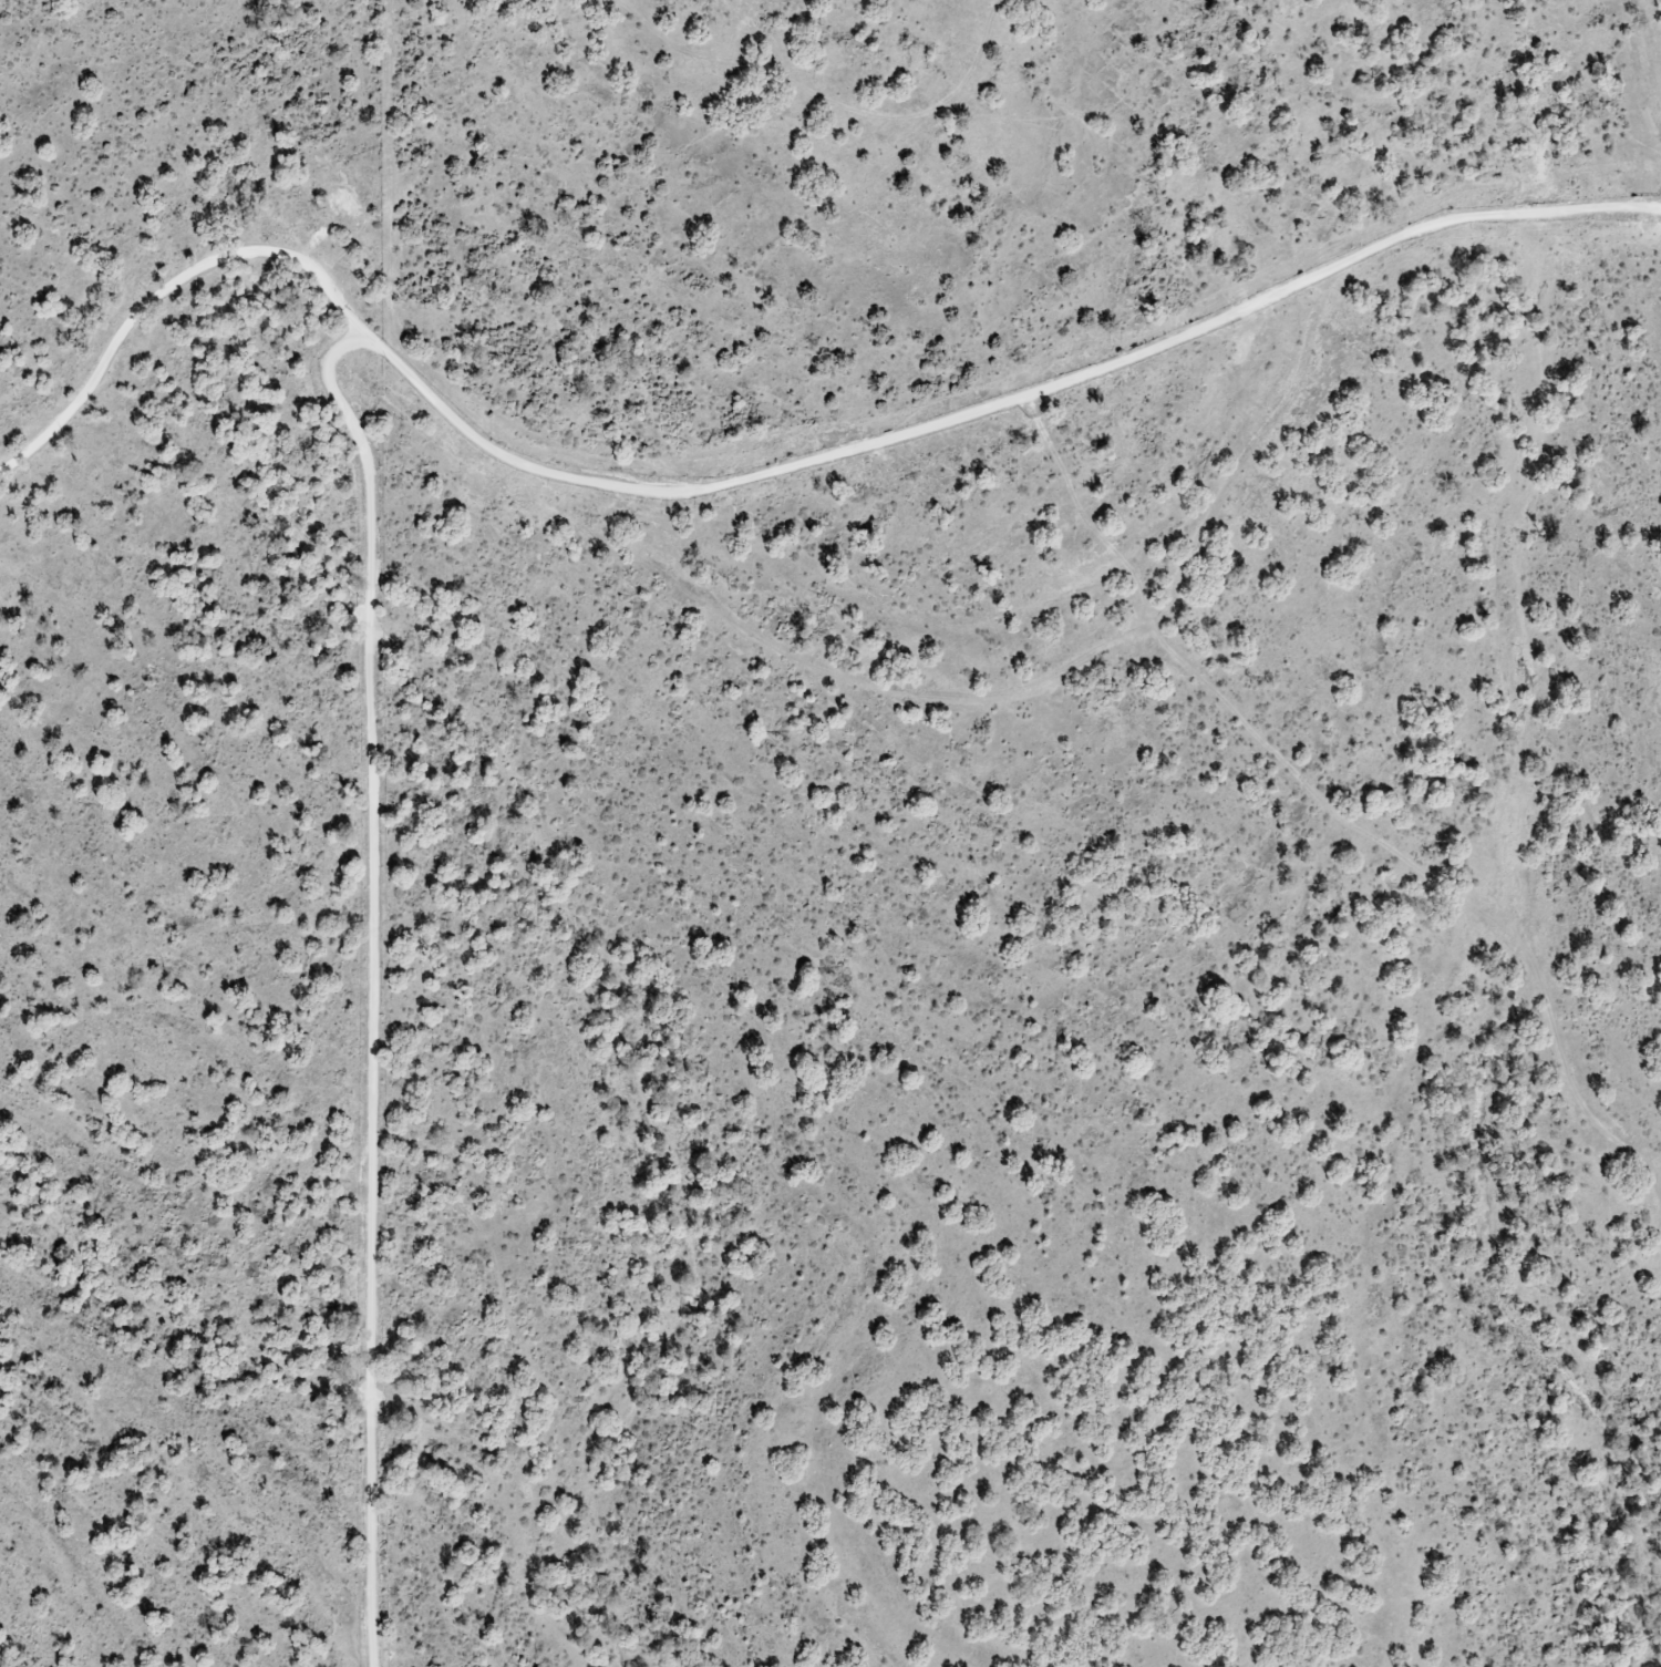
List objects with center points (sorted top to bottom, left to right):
road: (760, 441)
road: (1060, 675)
road: (371, 982)

